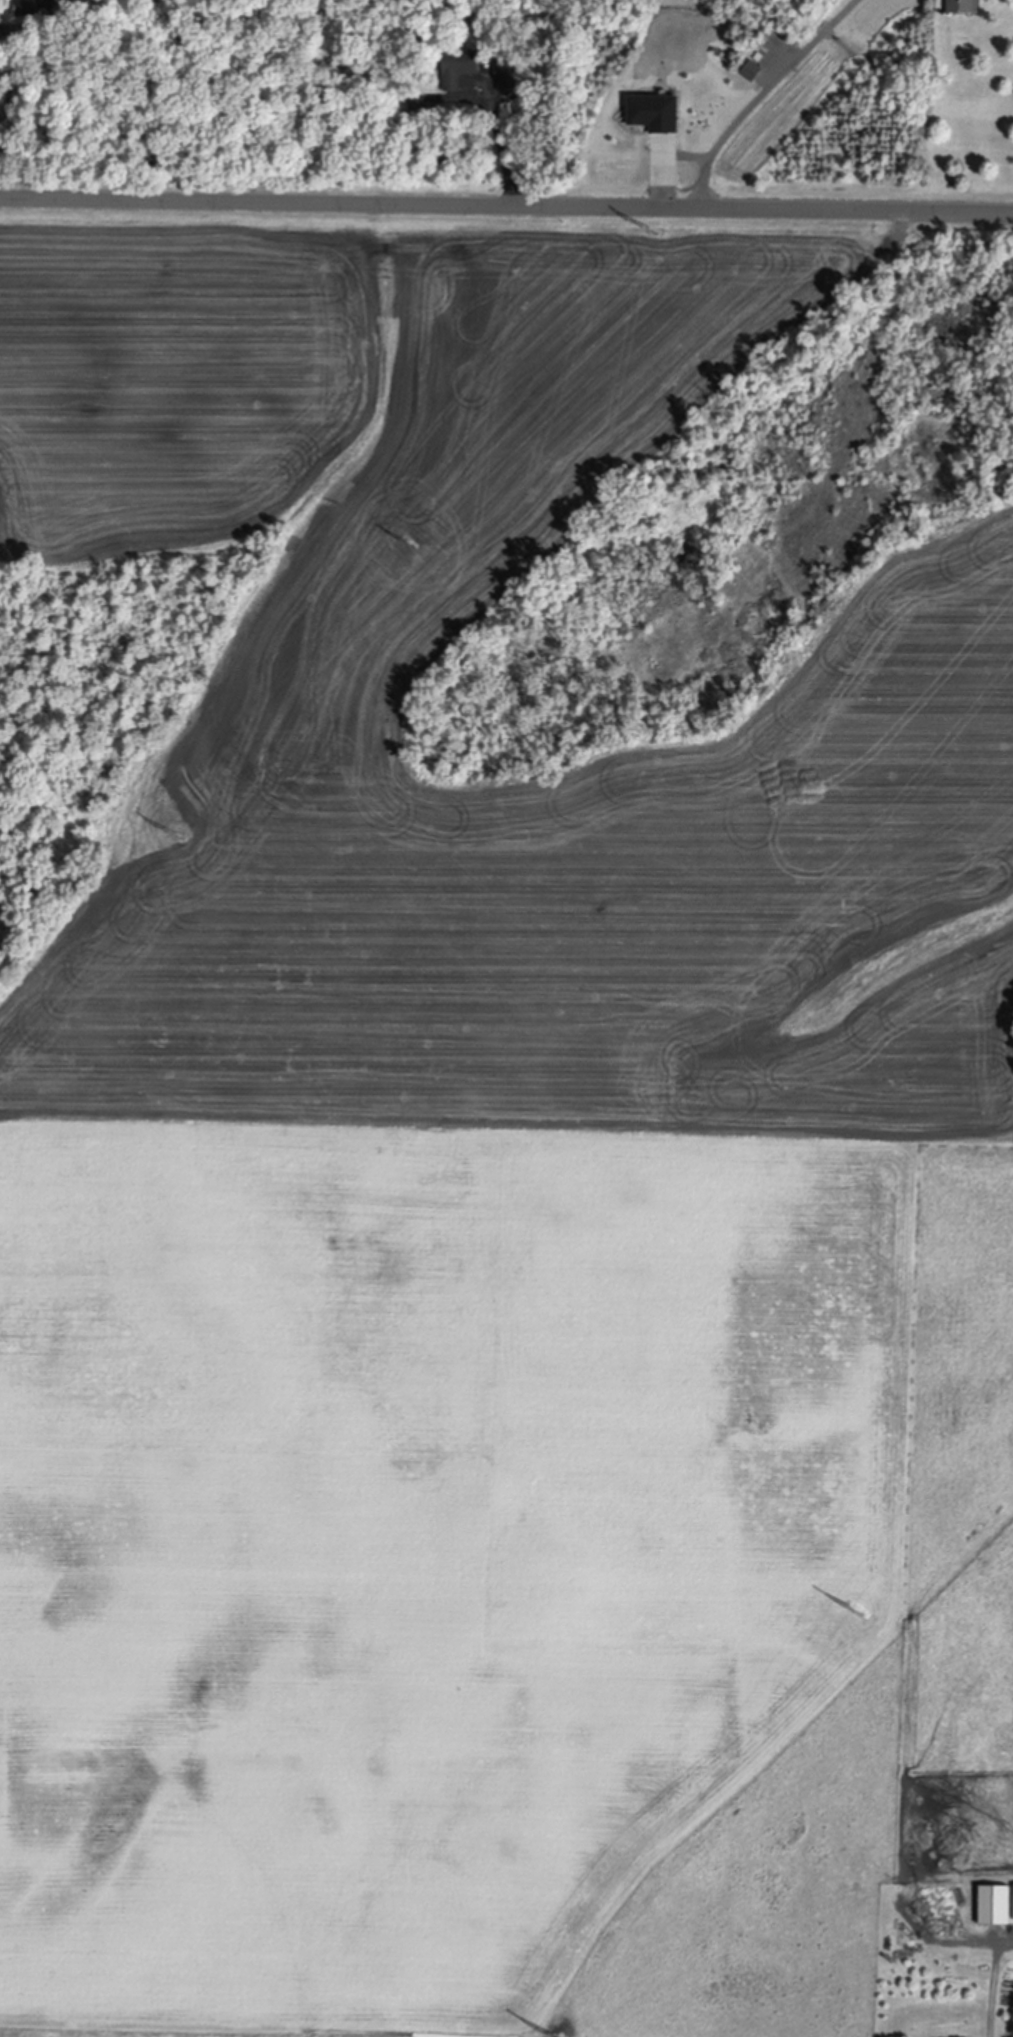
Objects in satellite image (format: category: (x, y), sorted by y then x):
building: (963, 7)
building: (35, 9)
road: (52, 28)
building: (459, 70)
building: (510, 79)
road: (759, 95)
building: (417, 106)
road: (1, 116)
road: (506, 206)
power tower: (653, 233)
power tower: (406, 544)
quarry: (506, 671)
power tower: (178, 834)
power tower: (854, 1610)
road: (992, 1985)

